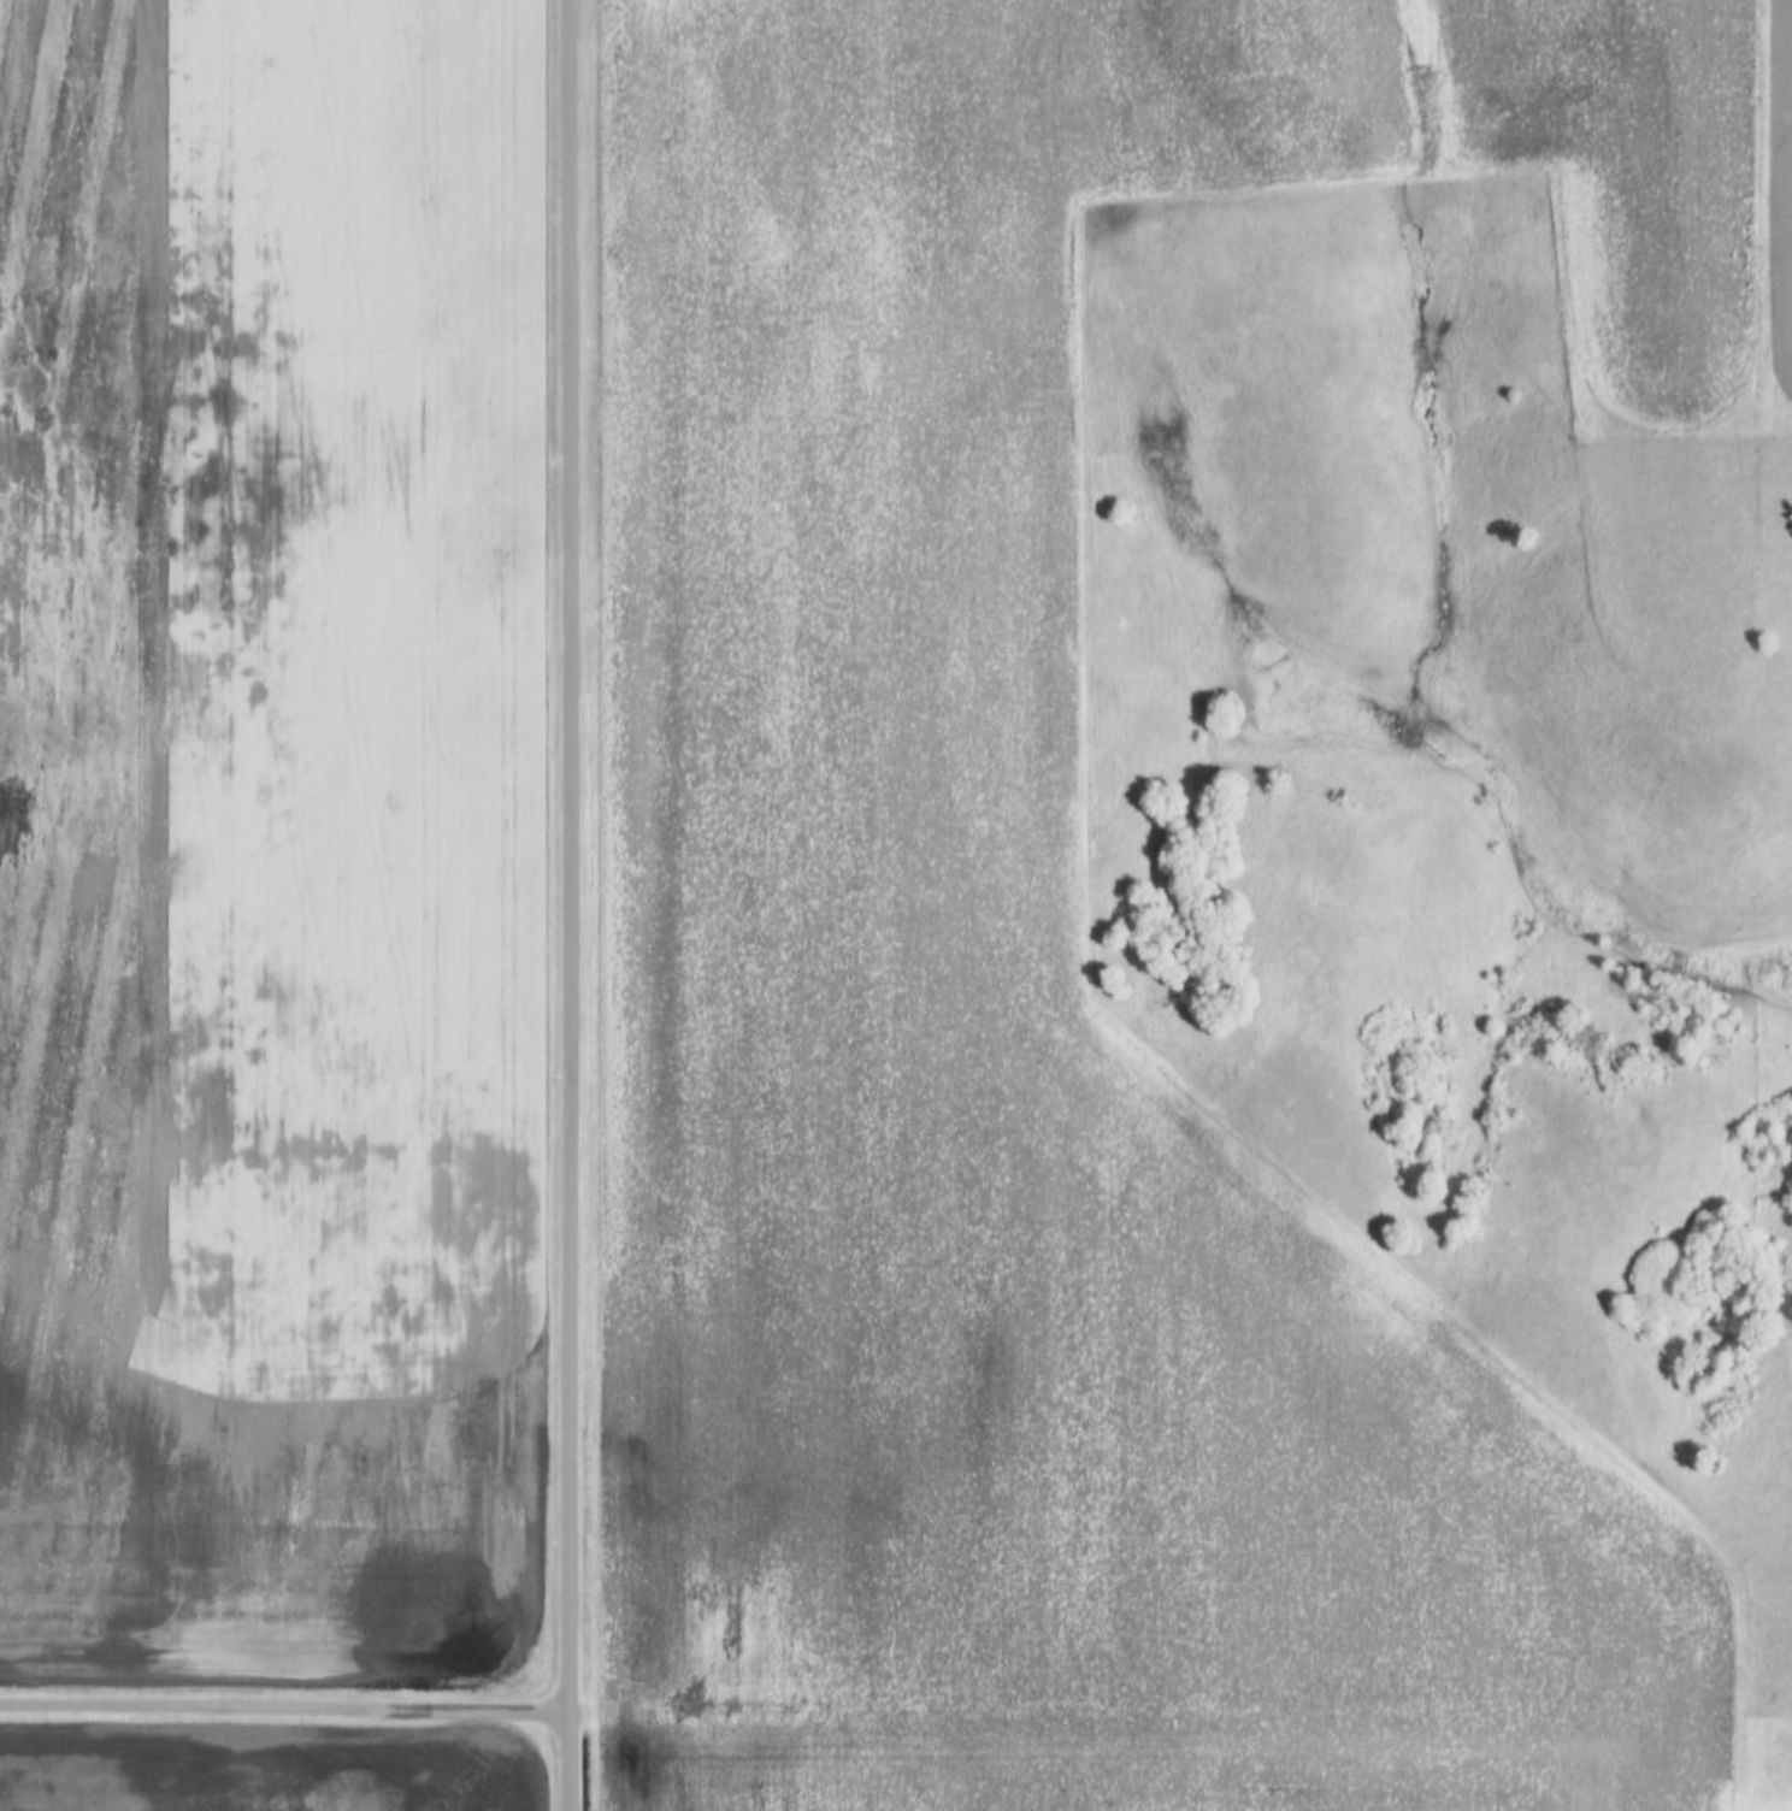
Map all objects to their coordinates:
road: (573, 904)
road: (285, 1710)

